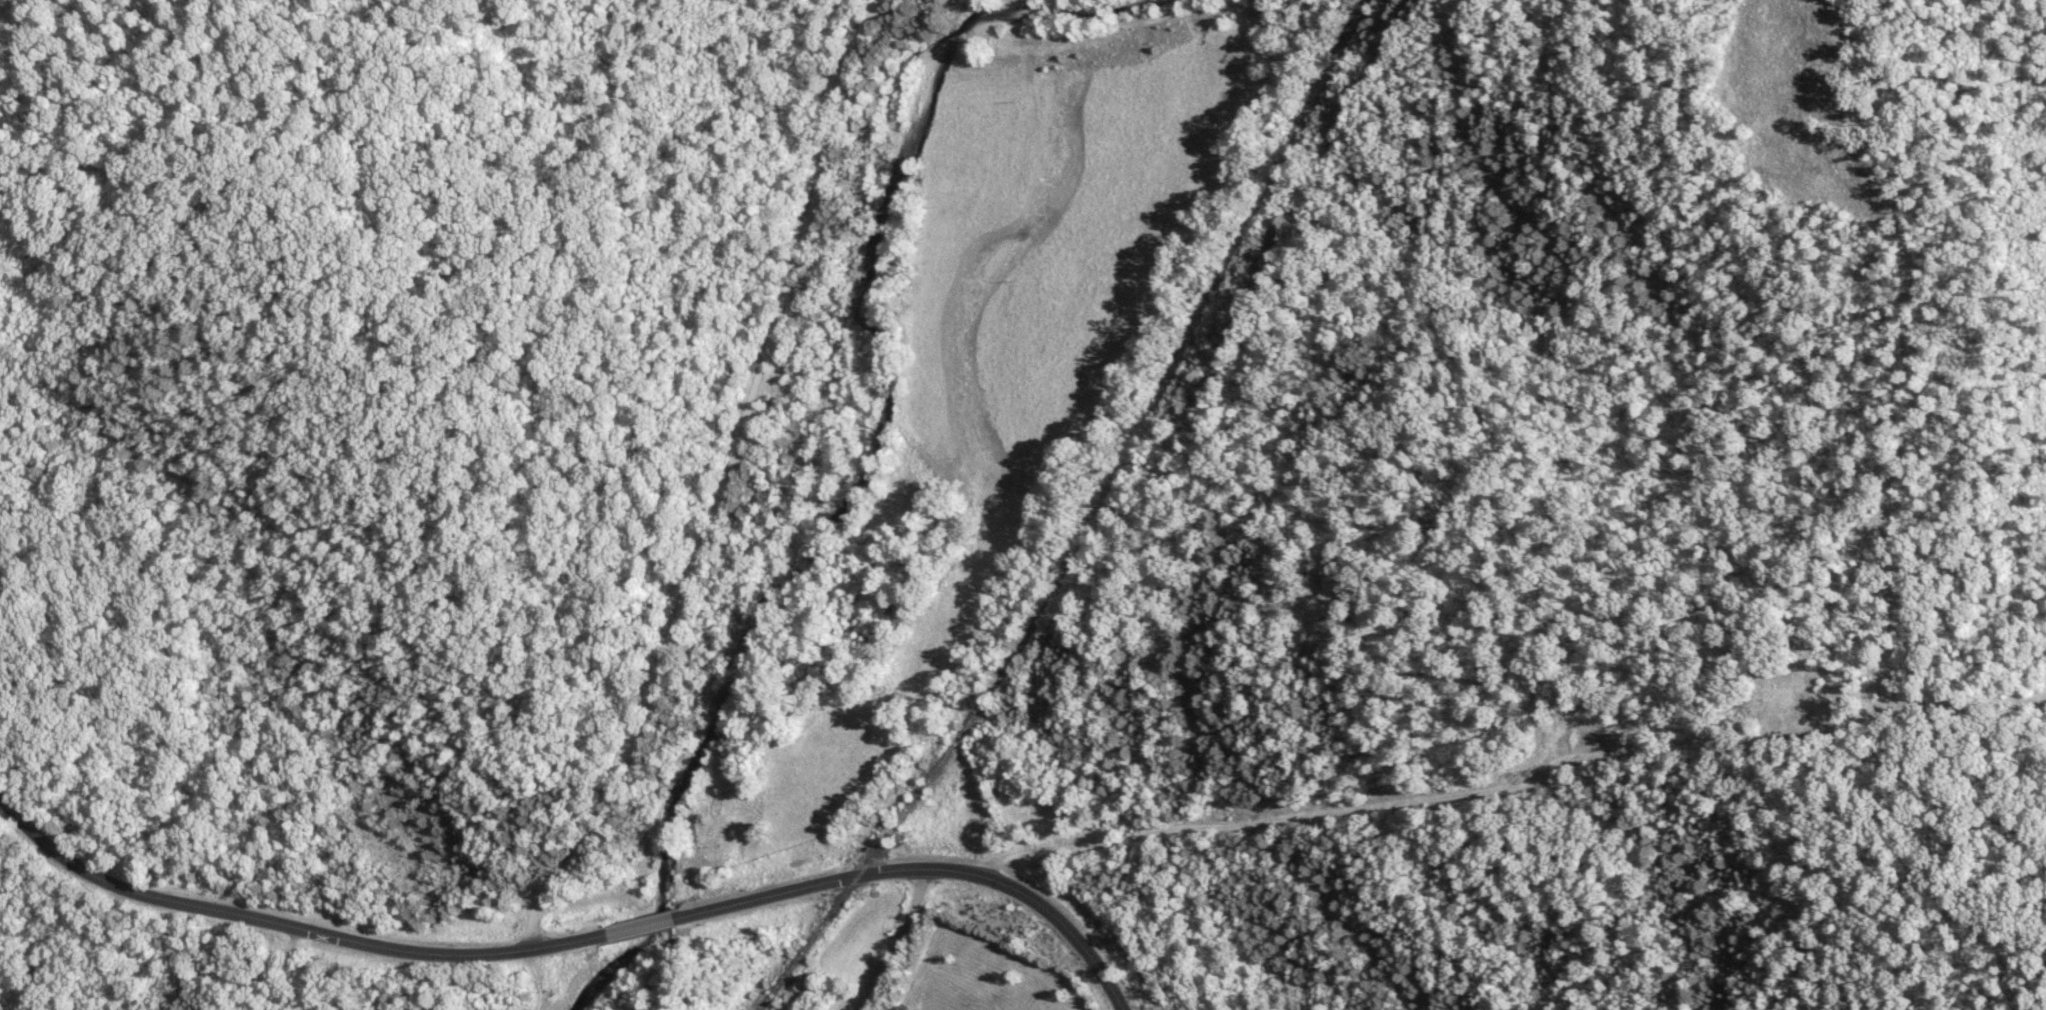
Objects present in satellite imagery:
road: (728, 485)
railway: (1097, 524)
road: (574, 940)
road: (893, 941)

